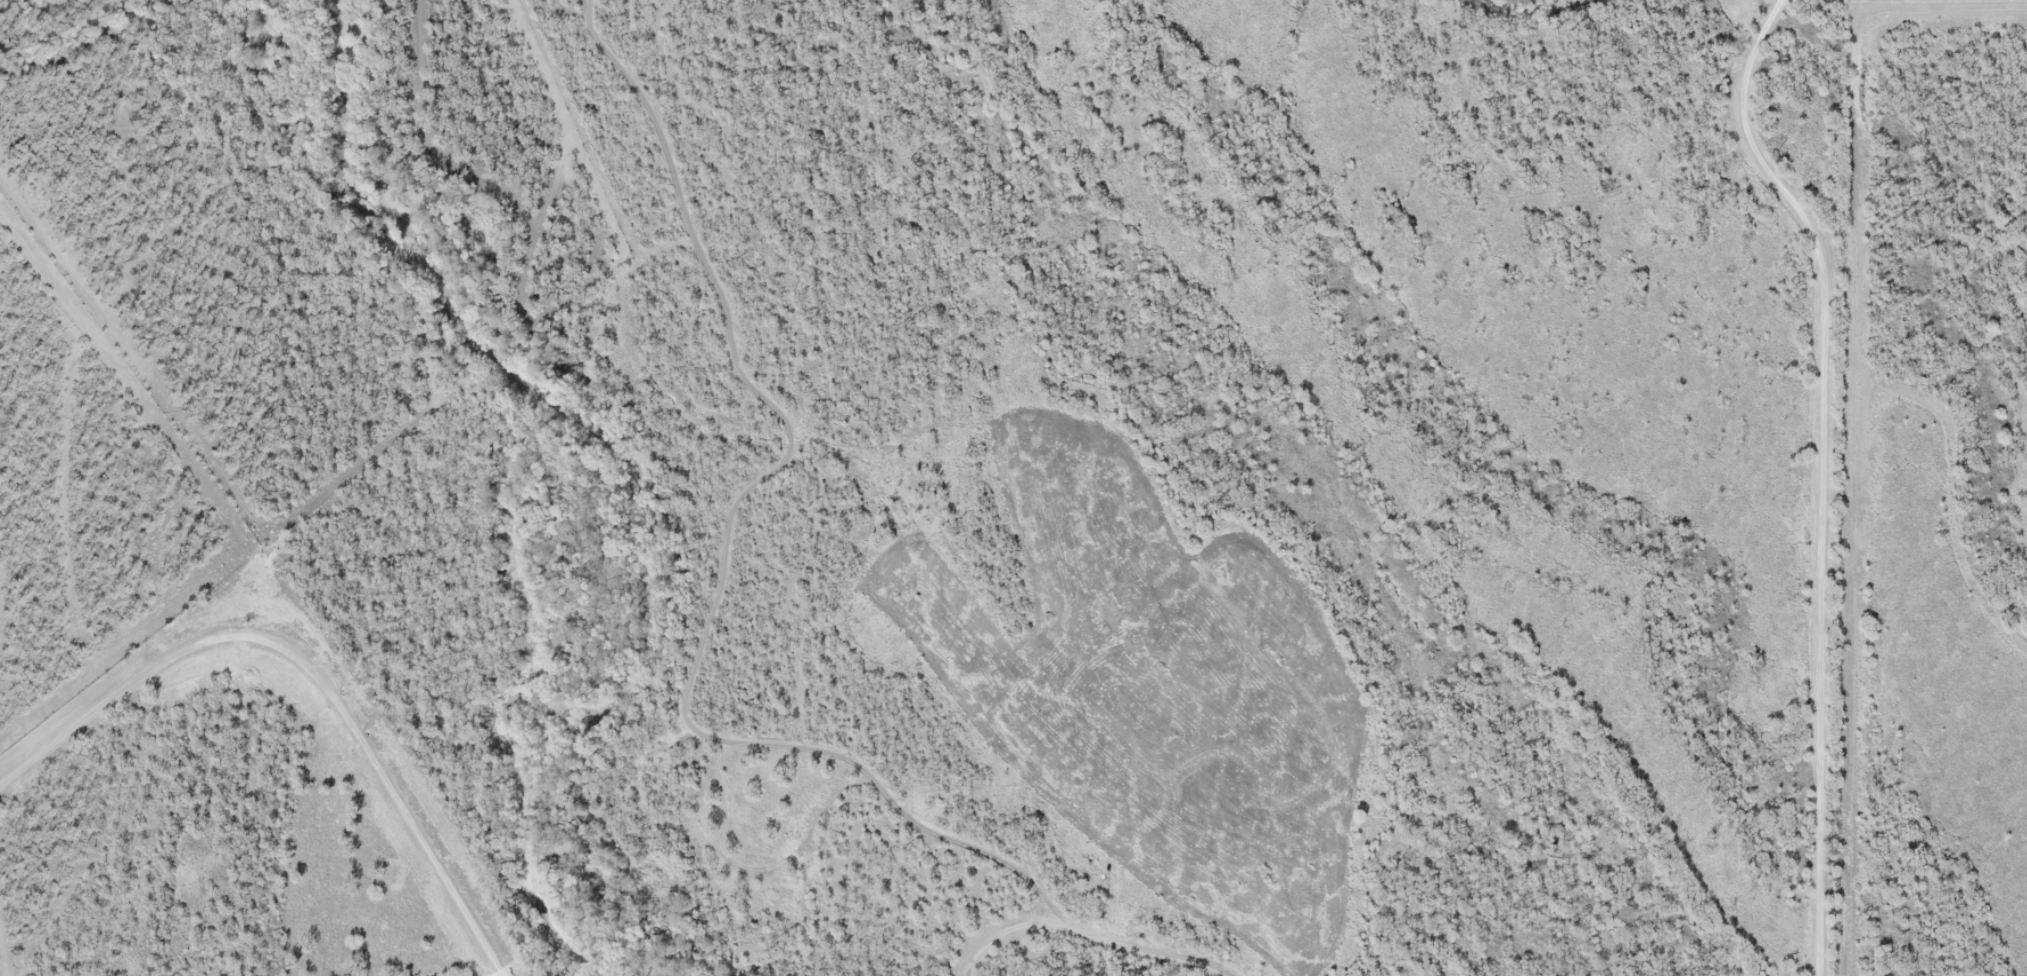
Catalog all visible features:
road: (1821, 472)
river: (634, 506)
road: (310, 667)

